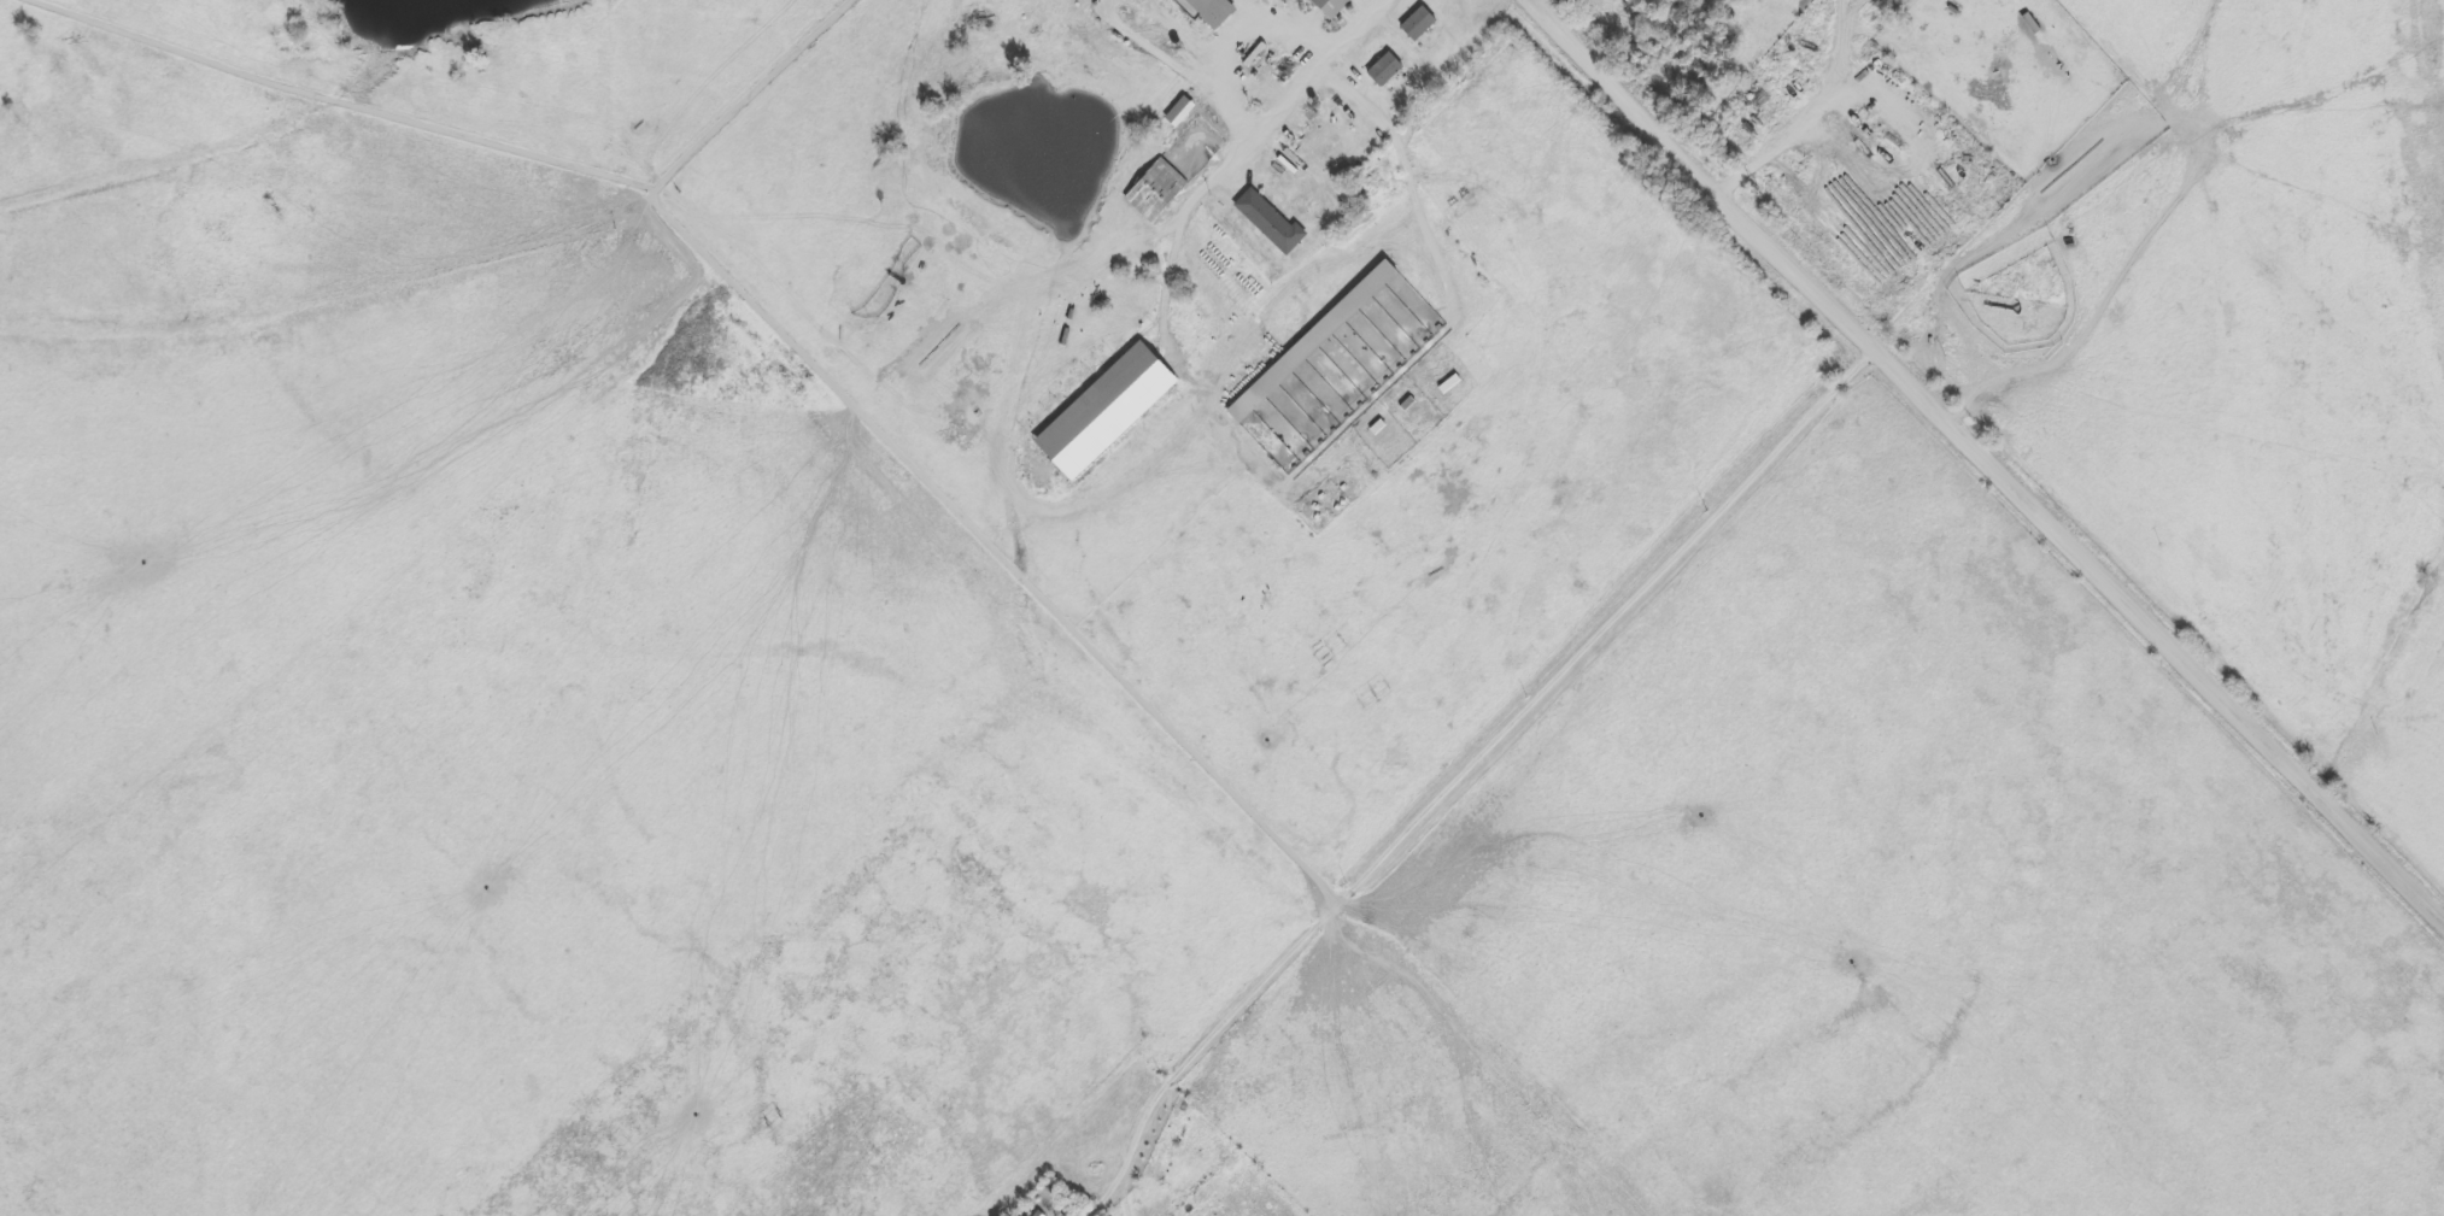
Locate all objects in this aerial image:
building: (1212, 11)
building: (1418, 23)
building: (2030, 23)
road: (1844, 46)
road: (1308, 80)
road: (1892, 113)
road: (1784, 142)
building: (1155, 189)
building: (1268, 221)
road: (1985, 463)
building: (1330, 648)
building: (1375, 693)
road: (1466, 768)
building: (1039, 1214)

